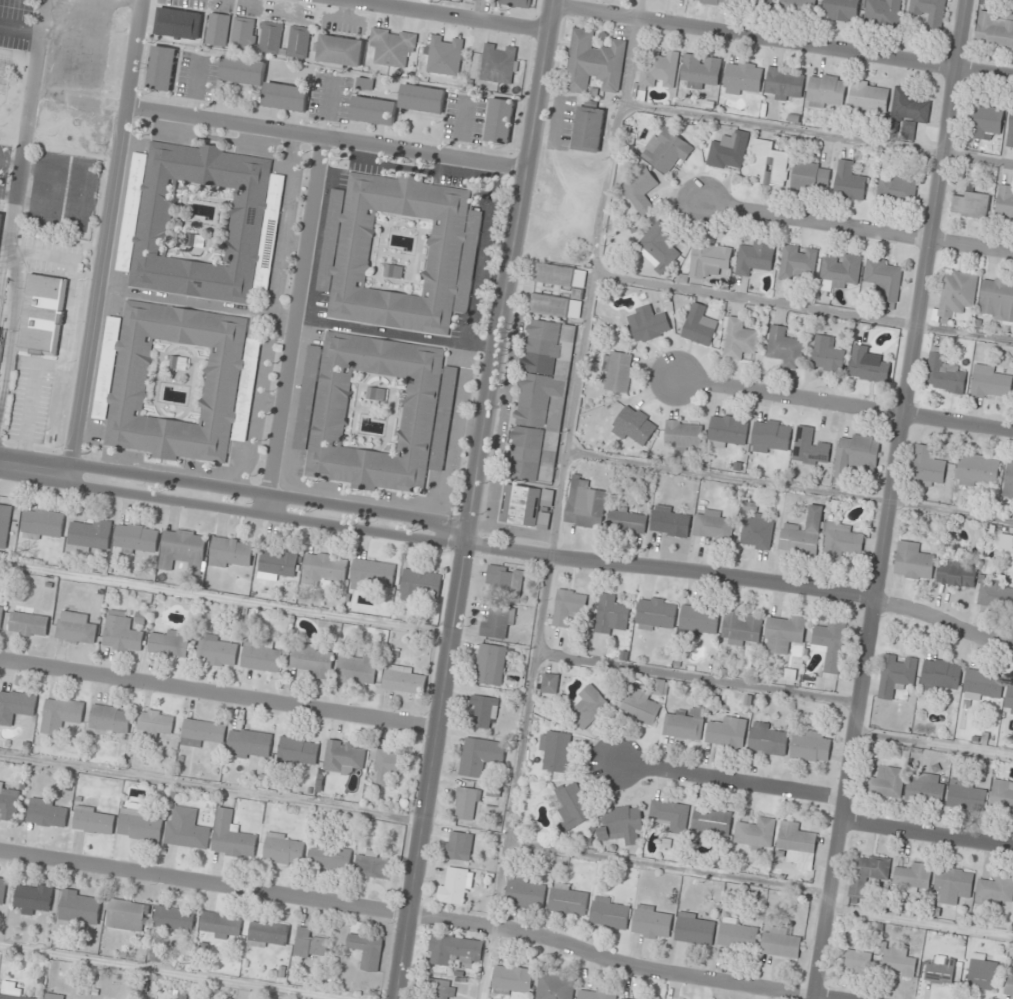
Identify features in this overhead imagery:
building: (469, 0)
building: (714, 2)
building: (517, 3)
building: (751, 3)
building: (796, 8)
building: (840, 10)
building: (881, 13)
building: (928, 13)
road: (450, 15)
building: (178, 24)
building: (218, 29)
building: (994, 29)
building: (244, 34)
building: (271, 37)
road: (782, 40)
building: (299, 42)
building: (393, 46)
building: (340, 50)
building: (444, 56)
building: (497, 63)
building: (592, 63)
building: (160, 69)
building: (657, 69)
building: (241, 71)
building: (698, 71)
parking lot: (195, 76)
building: (740, 79)
building: (367, 82)
building: (782, 84)
road: (193, 88)
building: (824, 92)
parking lot: (328, 96)
building: (284, 98)
building: (866, 98)
building: (420, 100)
building: (907, 106)
road: (327, 107)
building: (372, 112)
parking lot: (461, 117)
building: (498, 122)
building: (984, 122)
road: (460, 129)
building: (587, 130)
building: (1009, 130)
road: (818, 133)
road: (328, 137)
building: (665, 150)
building: (727, 151)
road: (10, 161)
building: (766, 164)
building: (806, 176)
building: (846, 182)
building: (894, 189)
building: (638, 190)
road: (15, 191)
road: (7, 194)
building: (1004, 203)
building: (969, 205)
building: (0, 206)
building: (0, 218)
building: (200, 222)
road: (856, 226)
road: (107, 238)
building: (656, 247)
building: (399, 253)
parking lot: (52, 256)
building: (753, 257)
building: (707, 261)
building: (795, 263)
building: (837, 272)
building: (552, 275)
road: (592, 276)
building: (881, 278)
building: (954, 295)
building: (996, 301)
building: (547, 305)
building: (887, 306)
road: (802, 307)
building: (41, 314)
road: (293, 321)
building: (646, 323)
building: (697, 325)
building: (737, 339)
building: (568, 342)
building: (783, 347)
road: (62, 348)
building: (825, 353)
building: (866, 365)
building: (617, 371)
building: (942, 373)
building: (176, 381)
building: (988, 382)
parking lot: (30, 399)
building: (533, 399)
road: (842, 404)
building: (374, 412)
building: (632, 425)
building: (725, 431)
building: (681, 435)
building: (769, 435)
building: (807, 447)
building: (854, 455)
building: (924, 467)
building: (976, 470)
building: (1008, 481)
road: (789, 485)
road: (472, 499)
road: (888, 499)
road: (233, 500)
building: (583, 504)
building: (519, 505)
building: (624, 520)
building: (668, 521)
building: (41, 524)
building: (5, 525)
building: (712, 525)
building: (756, 531)
building: (801, 534)
building: (91, 536)
building: (136, 539)
building: (839, 541)
building: (183, 550)
building: (231, 554)
building: (911, 562)
building: (279, 565)
building: (324, 569)
building: (954, 573)
building: (372, 575)
road: (742, 581)
building: (502, 584)
building: (421, 585)
building: (994, 595)
road: (225, 599)
building: (566, 606)
building: (1, 614)
building: (609, 614)
building: (654, 614)
building: (496, 620)
building: (696, 620)
building: (29, 625)
building: (740, 627)
building: (75, 628)
building: (782, 633)
building: (121, 635)
building: (166, 644)
building: (828, 644)
building: (217, 651)
building: (261, 656)
building: (312, 661)
building: (488, 664)
building: (357, 669)
building: (939, 674)
building: (894, 675)
road: (695, 678)
building: (404, 681)
building: (550, 683)
building: (981, 683)
road: (220, 694)
building: (1008, 698)
building: (16, 707)
building: (587, 707)
building: (639, 707)
building: (482, 711)
building: (61, 715)
building: (110, 721)
building: (154, 723)
building: (684, 723)
building: (202, 733)
building: (725, 733)
building: (766, 739)
road: (933, 744)
building: (249, 745)
building: (810, 746)
building: (555, 750)
building: (298, 752)
building: (478, 755)
building: (344, 756)
building: (387, 765)
road: (515, 777)
road: (727, 780)
building: (884, 782)
building: (924, 786)
road: (213, 789)
building: (965, 794)
building: (1001, 797)
building: (9, 803)
building: (464, 803)
building: (571, 803)
building: (48, 813)
building: (669, 815)
building: (94, 821)
building: (710, 822)
building: (139, 824)
building: (621, 824)
building: (186, 829)
building: (755, 833)
road: (926, 834)
building: (232, 836)
building: (794, 845)
building: (457, 846)
building: (284, 850)
building: (329, 858)
building: (373, 866)
road: (667, 868)
building: (865, 872)
building: (911, 875)
building: (950, 884)
building: (453, 885)
building: (992, 889)
building: (2, 891)
building: (524, 892)
building: (34, 899)
building: (567, 899)
building: (80, 908)
building: (608, 912)
road: (421, 913)
building: (126, 916)
building: (174, 918)
road: (919, 921)
building: (651, 922)
building: (220, 925)
building: (693, 928)
building: (737, 933)
building: (268, 935)
building: (778, 941)
building: (310, 945)
building: (452, 949)
building: (367, 950)
building: (896, 960)
building: (855, 961)
building: (939, 970)
building: (981, 971)
road: (168, 973)
building: (511, 978)
building: (1008, 981)
building: (553, 987)
building: (436, 989)
building: (11, 991)
building: (594, 994)
building: (54, 996)
building: (625, 998)

